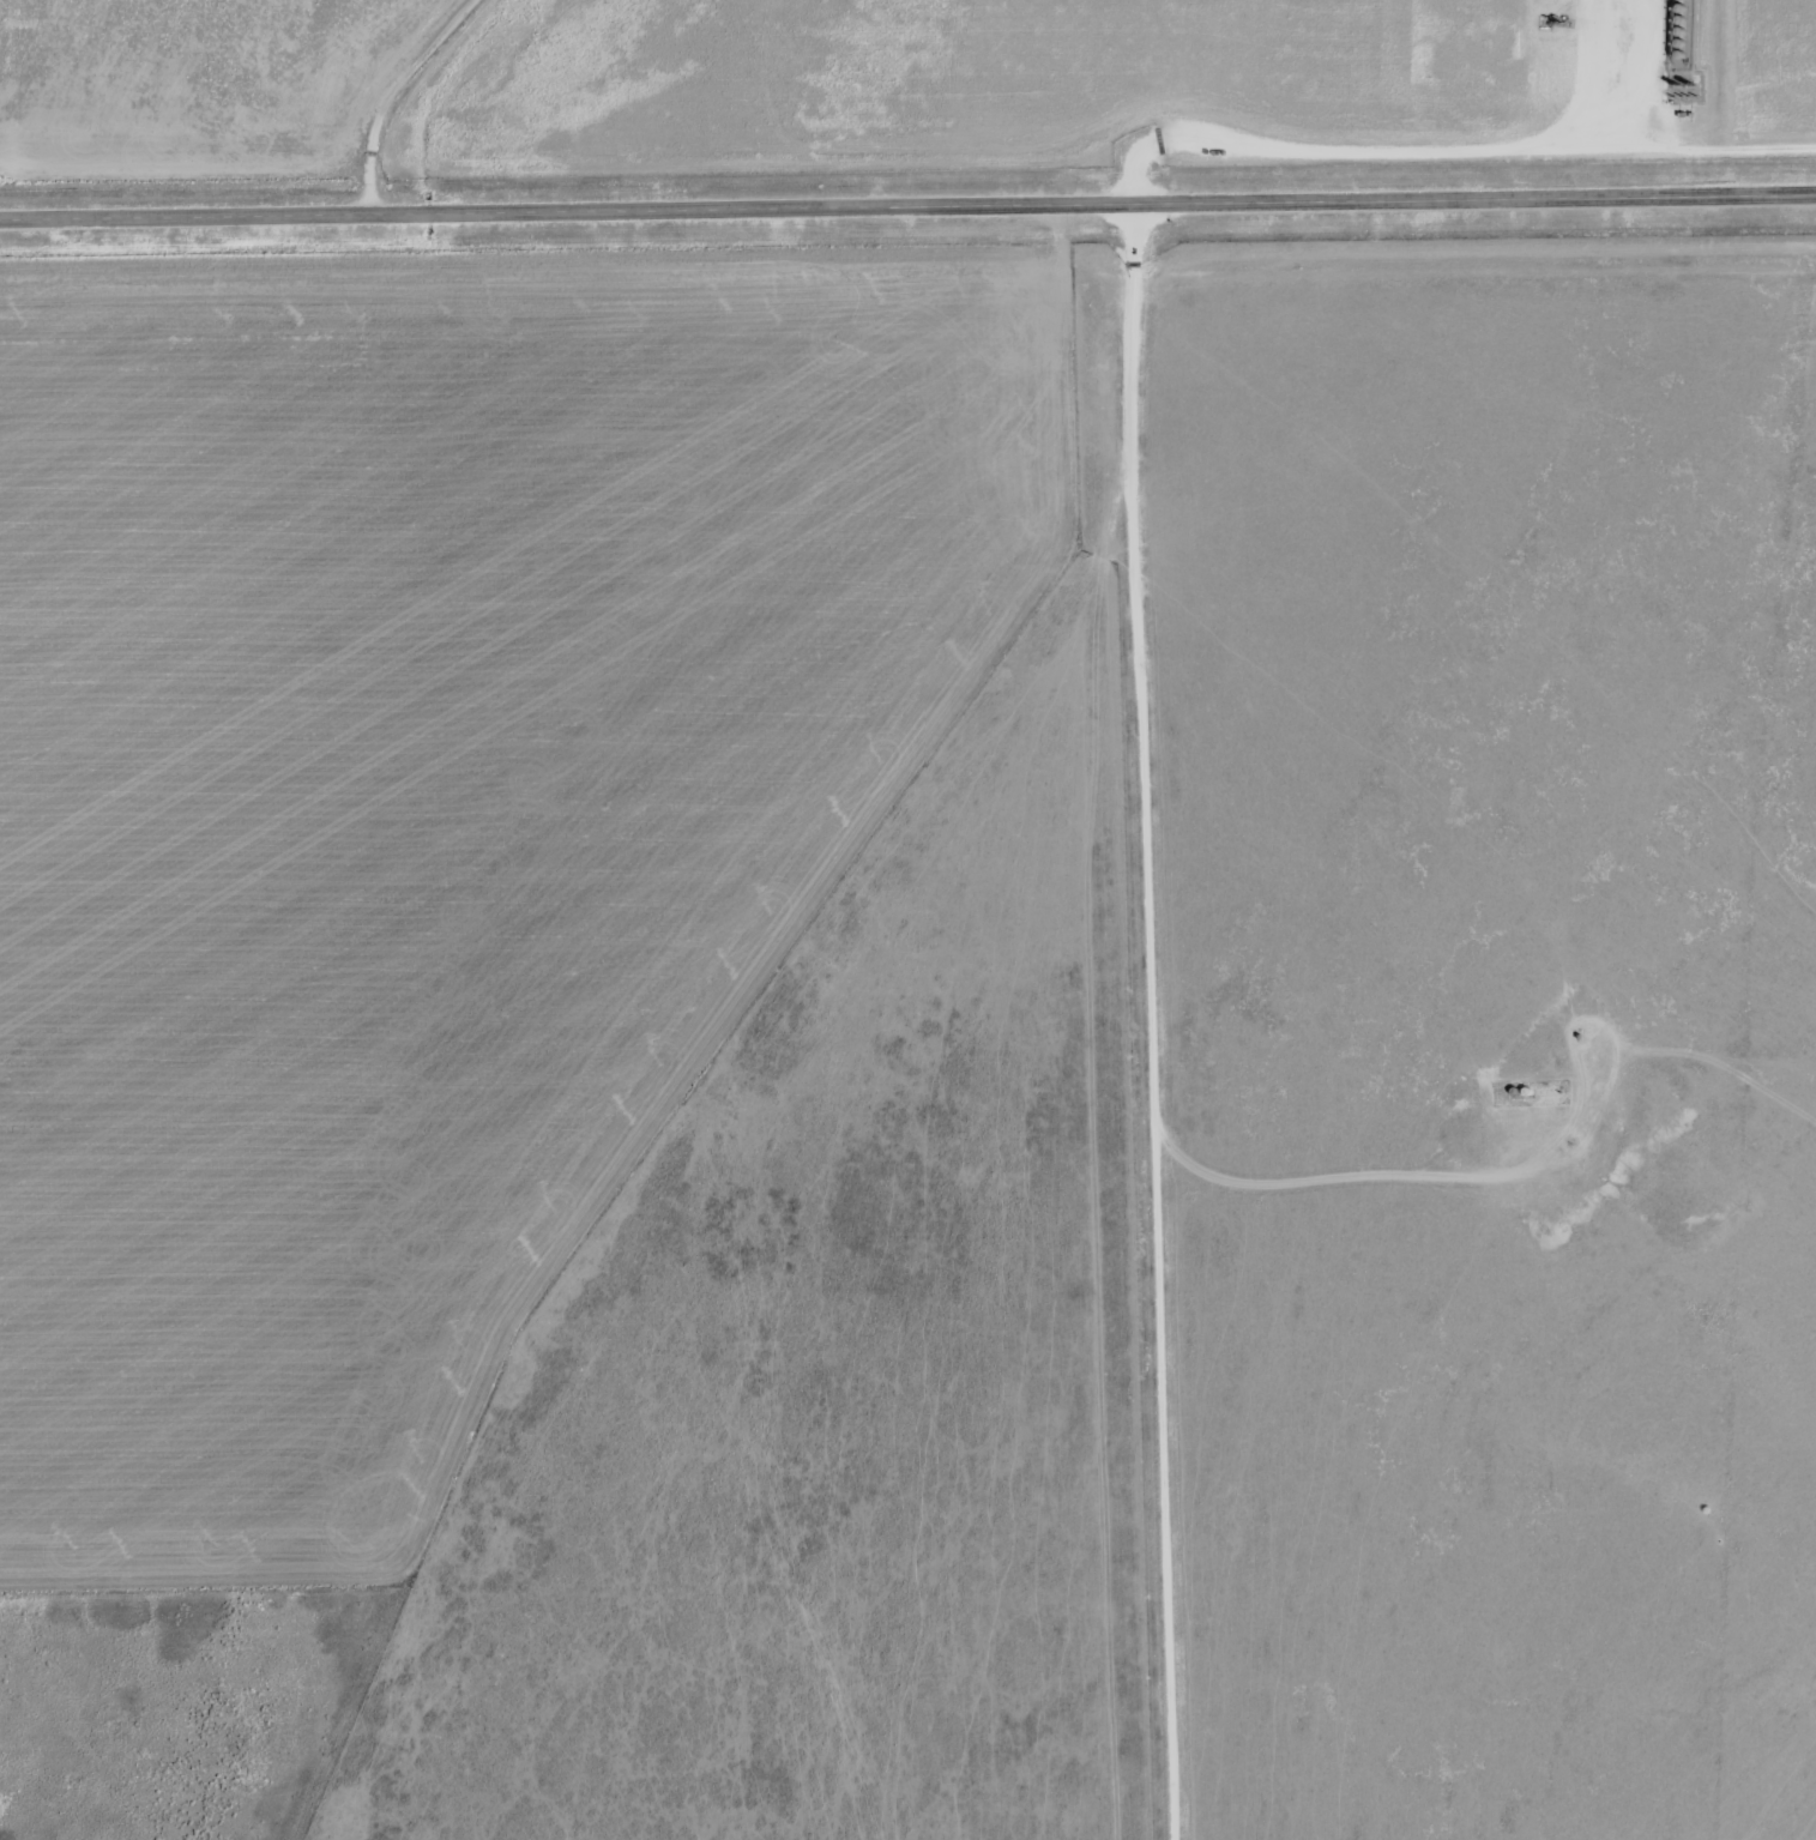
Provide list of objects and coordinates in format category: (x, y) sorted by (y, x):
petroleum well: (1555, 18)
road: (1609, 71)
road: (1448, 145)
road: (907, 207)

